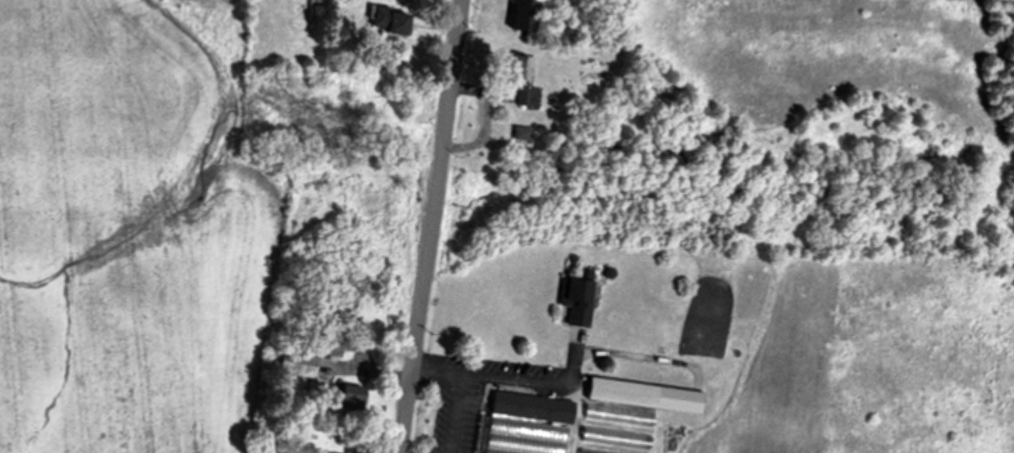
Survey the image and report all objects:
building: (520, 15)
building: (383, 21)
building: (521, 82)
road: (487, 118)
building: (518, 135)
road: (431, 226)
airport: (132, 230)
building: (573, 297)
building: (326, 330)
building: (292, 365)
road: (457, 375)
building: (639, 397)
building: (345, 398)
building: (528, 409)
road: (454, 414)
building: (623, 442)

